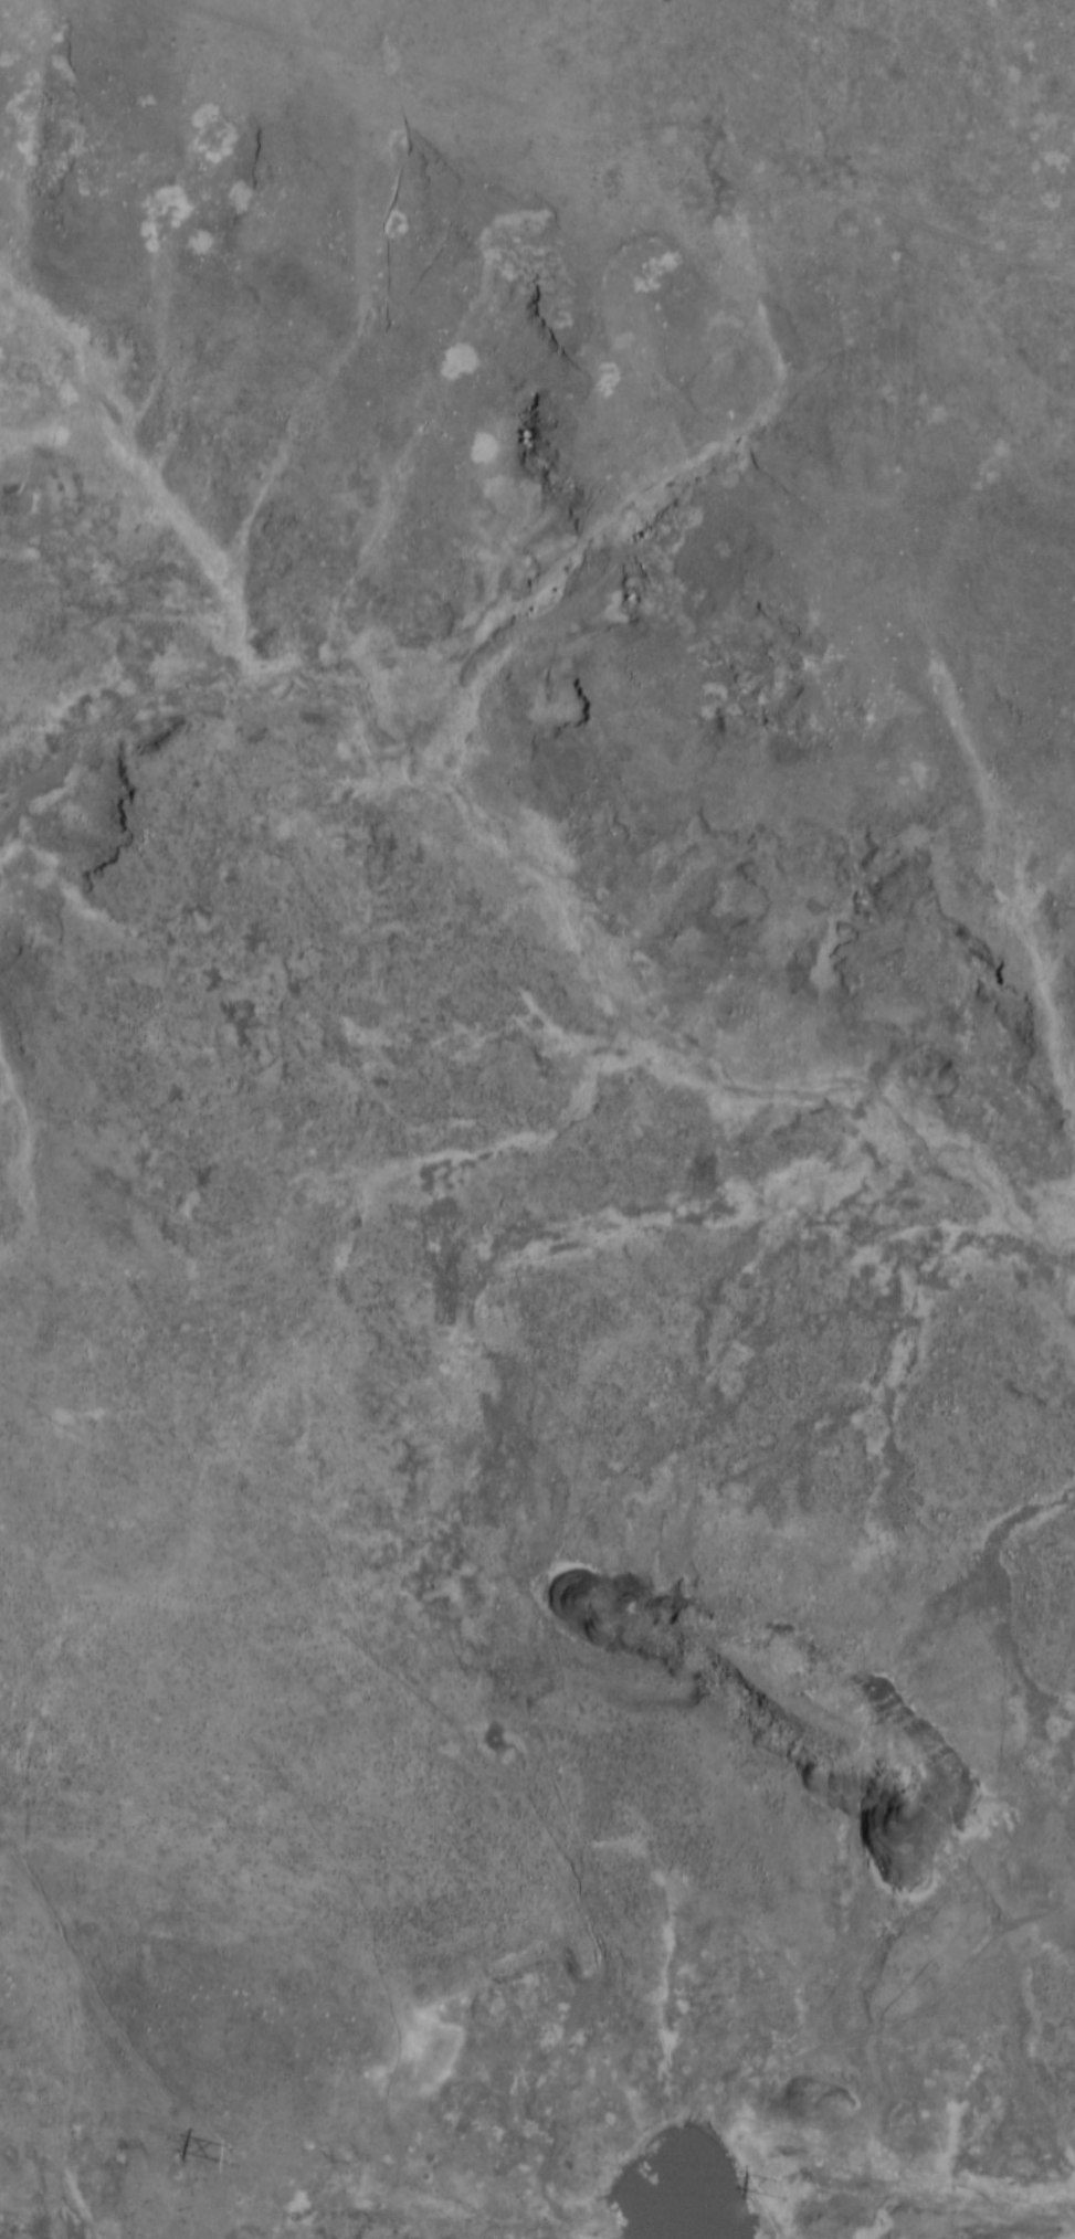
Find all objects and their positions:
road: (618, 129)
power tower: (229, 2155)
power tower: (783, 2193)

